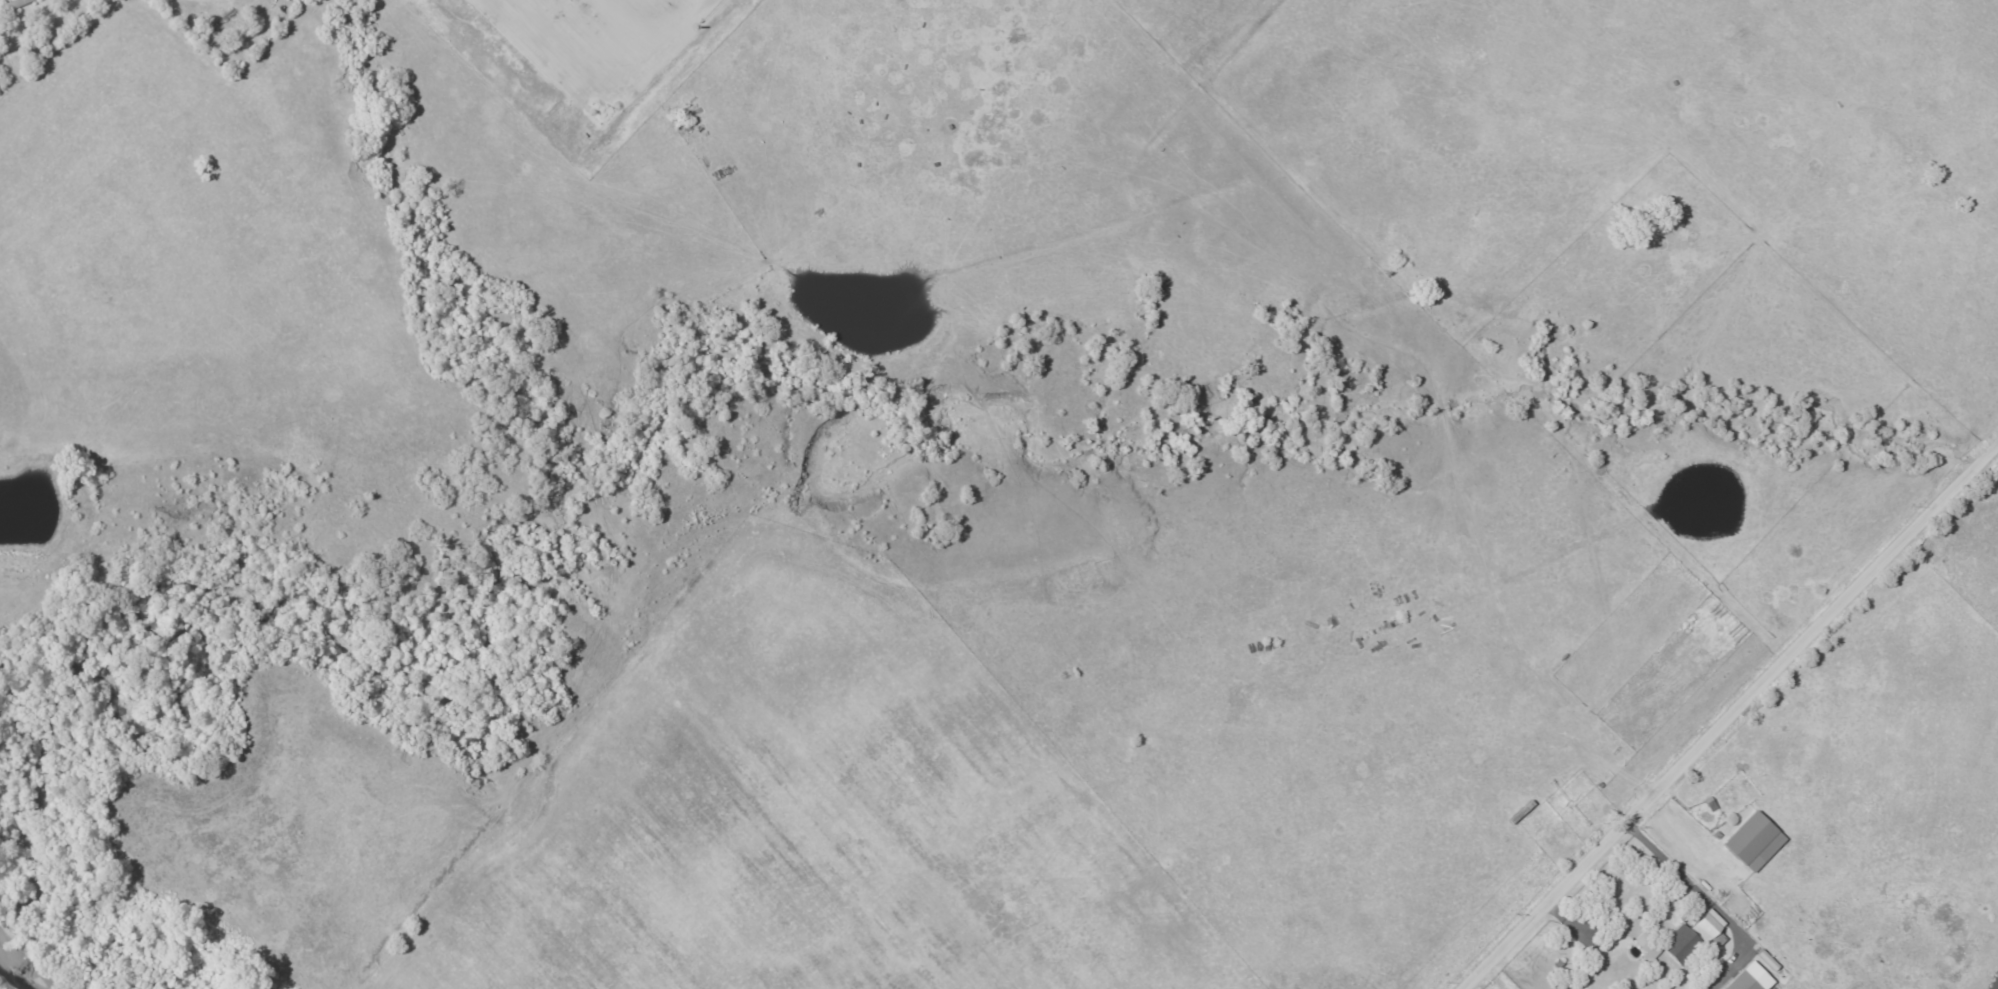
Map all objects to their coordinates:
road: (1730, 714)
building: (1757, 841)
road: (1582, 930)
building: (1699, 935)
building: (1650, 945)
river: (22, 966)
building: (1753, 978)

